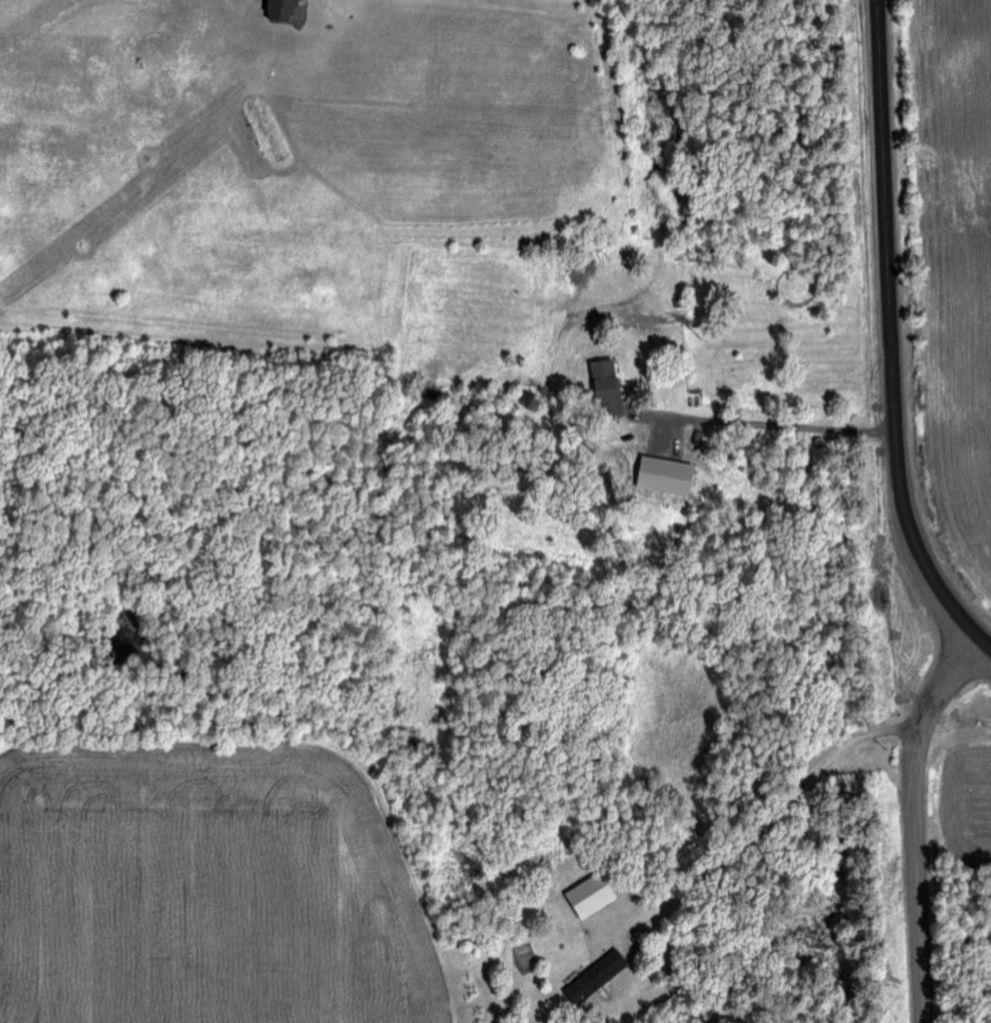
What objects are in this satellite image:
road: (890, 337)
building: (607, 388)
road: (778, 423)
building: (665, 452)
road: (920, 820)
building: (596, 978)

